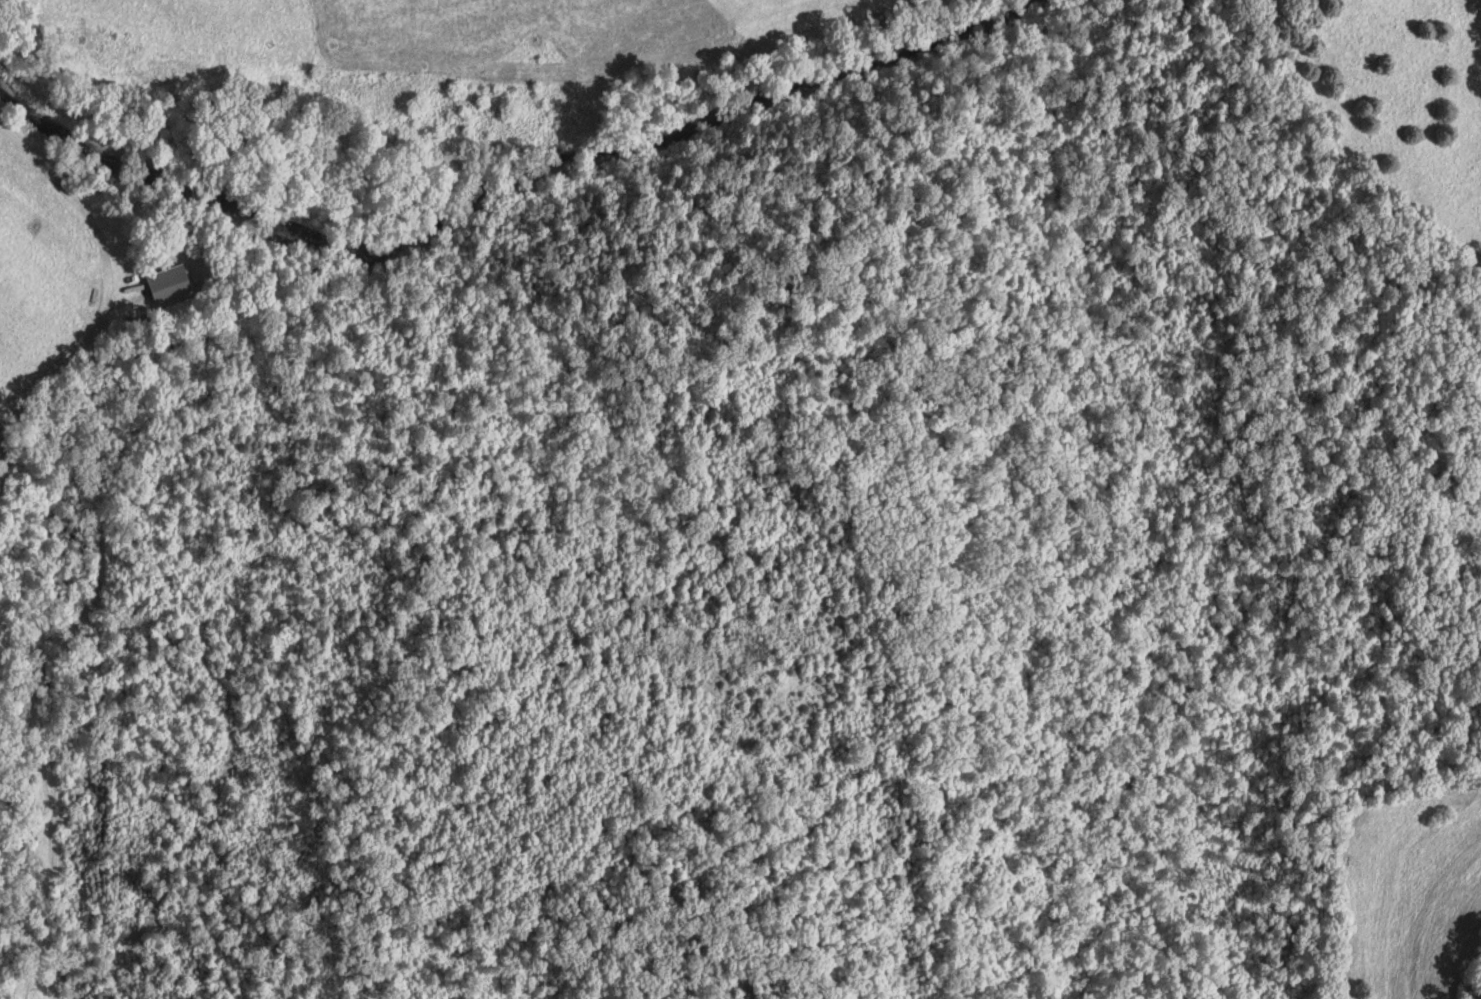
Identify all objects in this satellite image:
road: (105, 288)
building: (167, 288)

